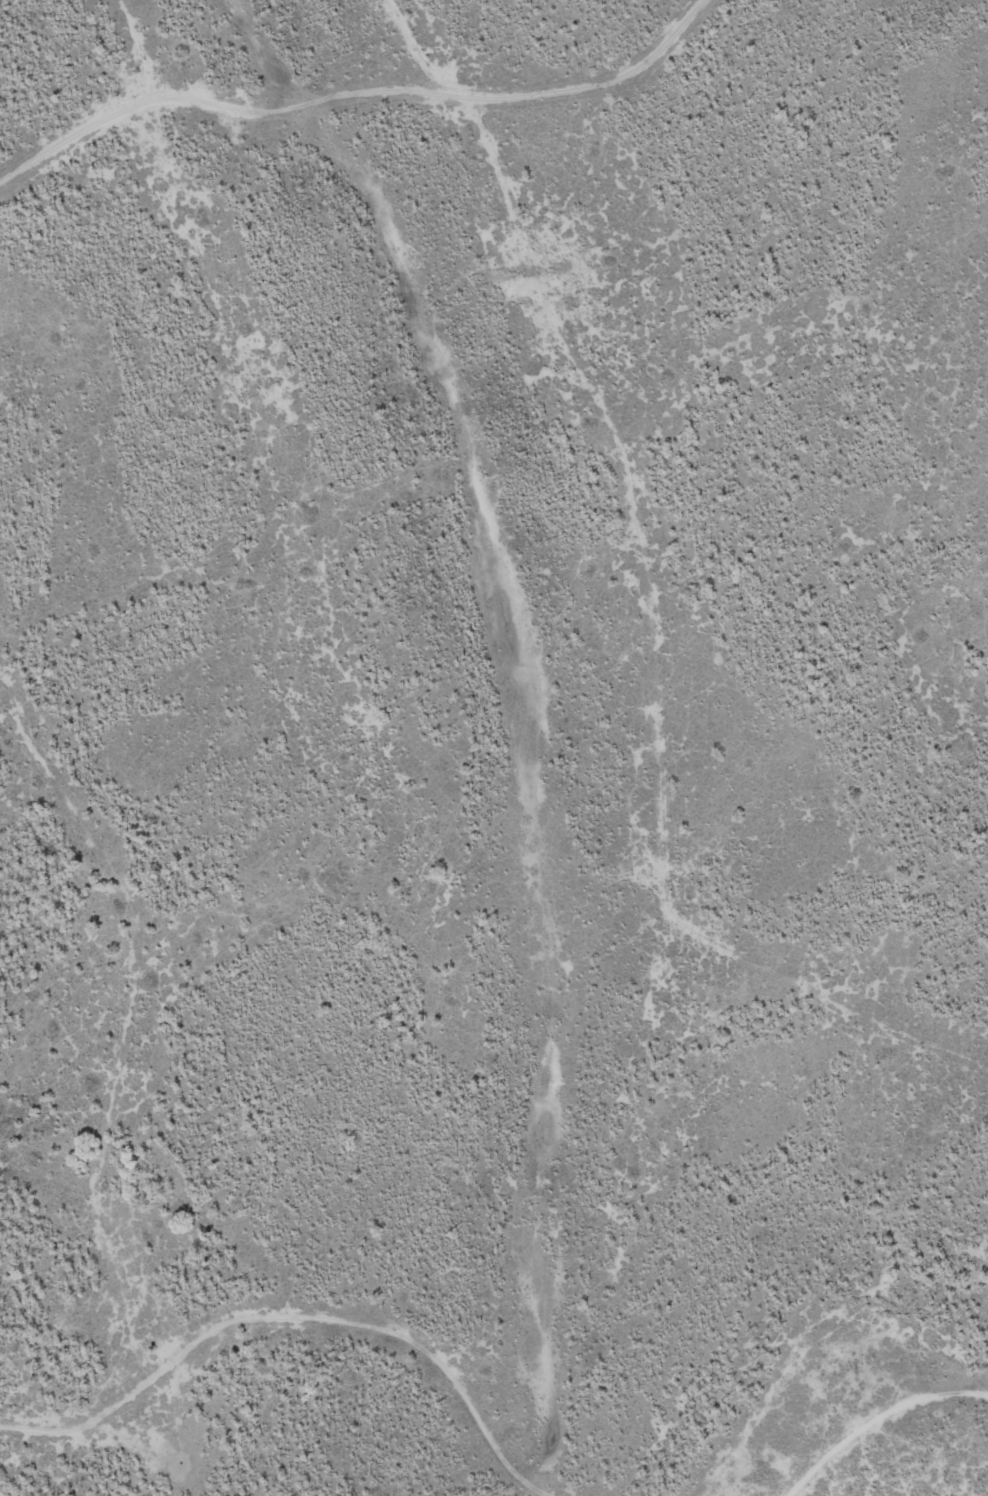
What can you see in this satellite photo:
road: (171, 92)
road: (170, 1359)
road: (896, 1451)

